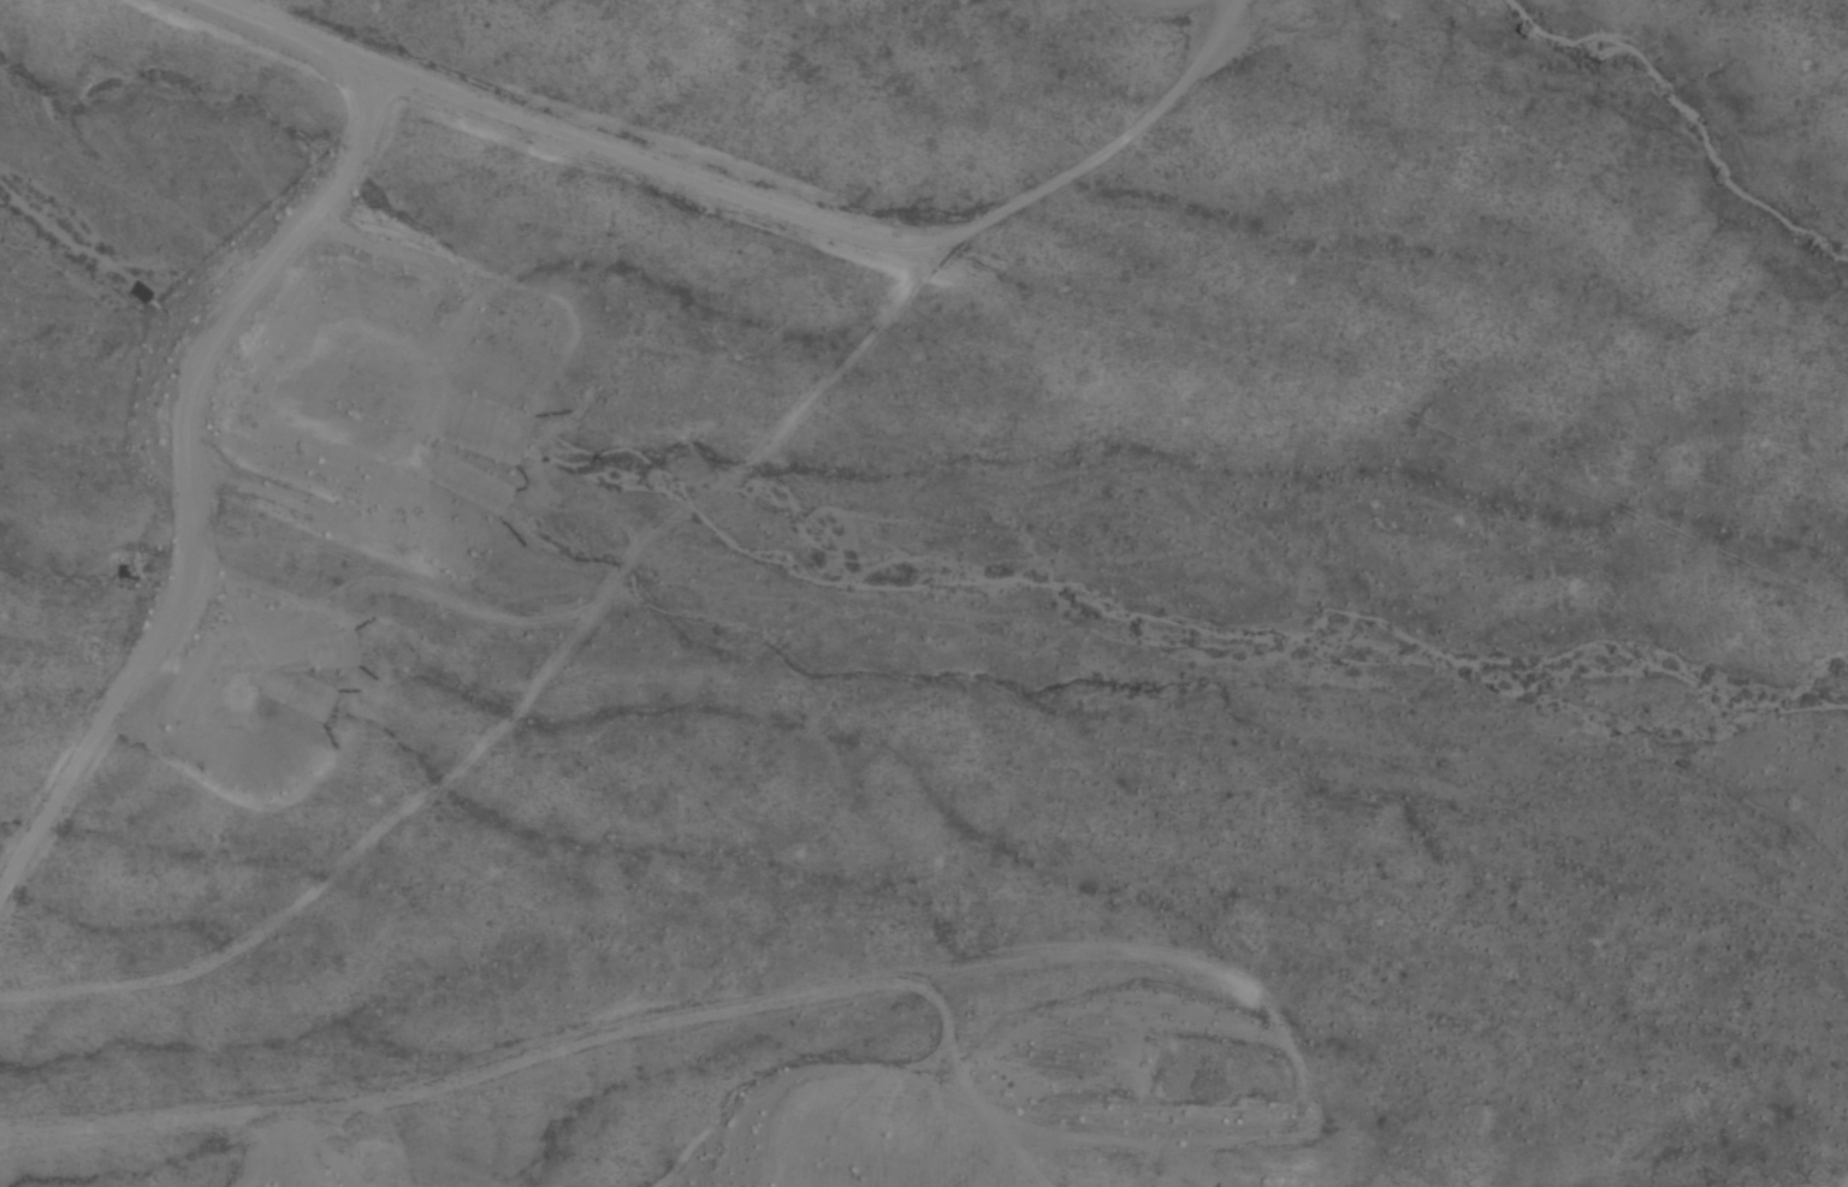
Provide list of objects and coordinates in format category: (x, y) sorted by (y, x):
road: (763, 200)

